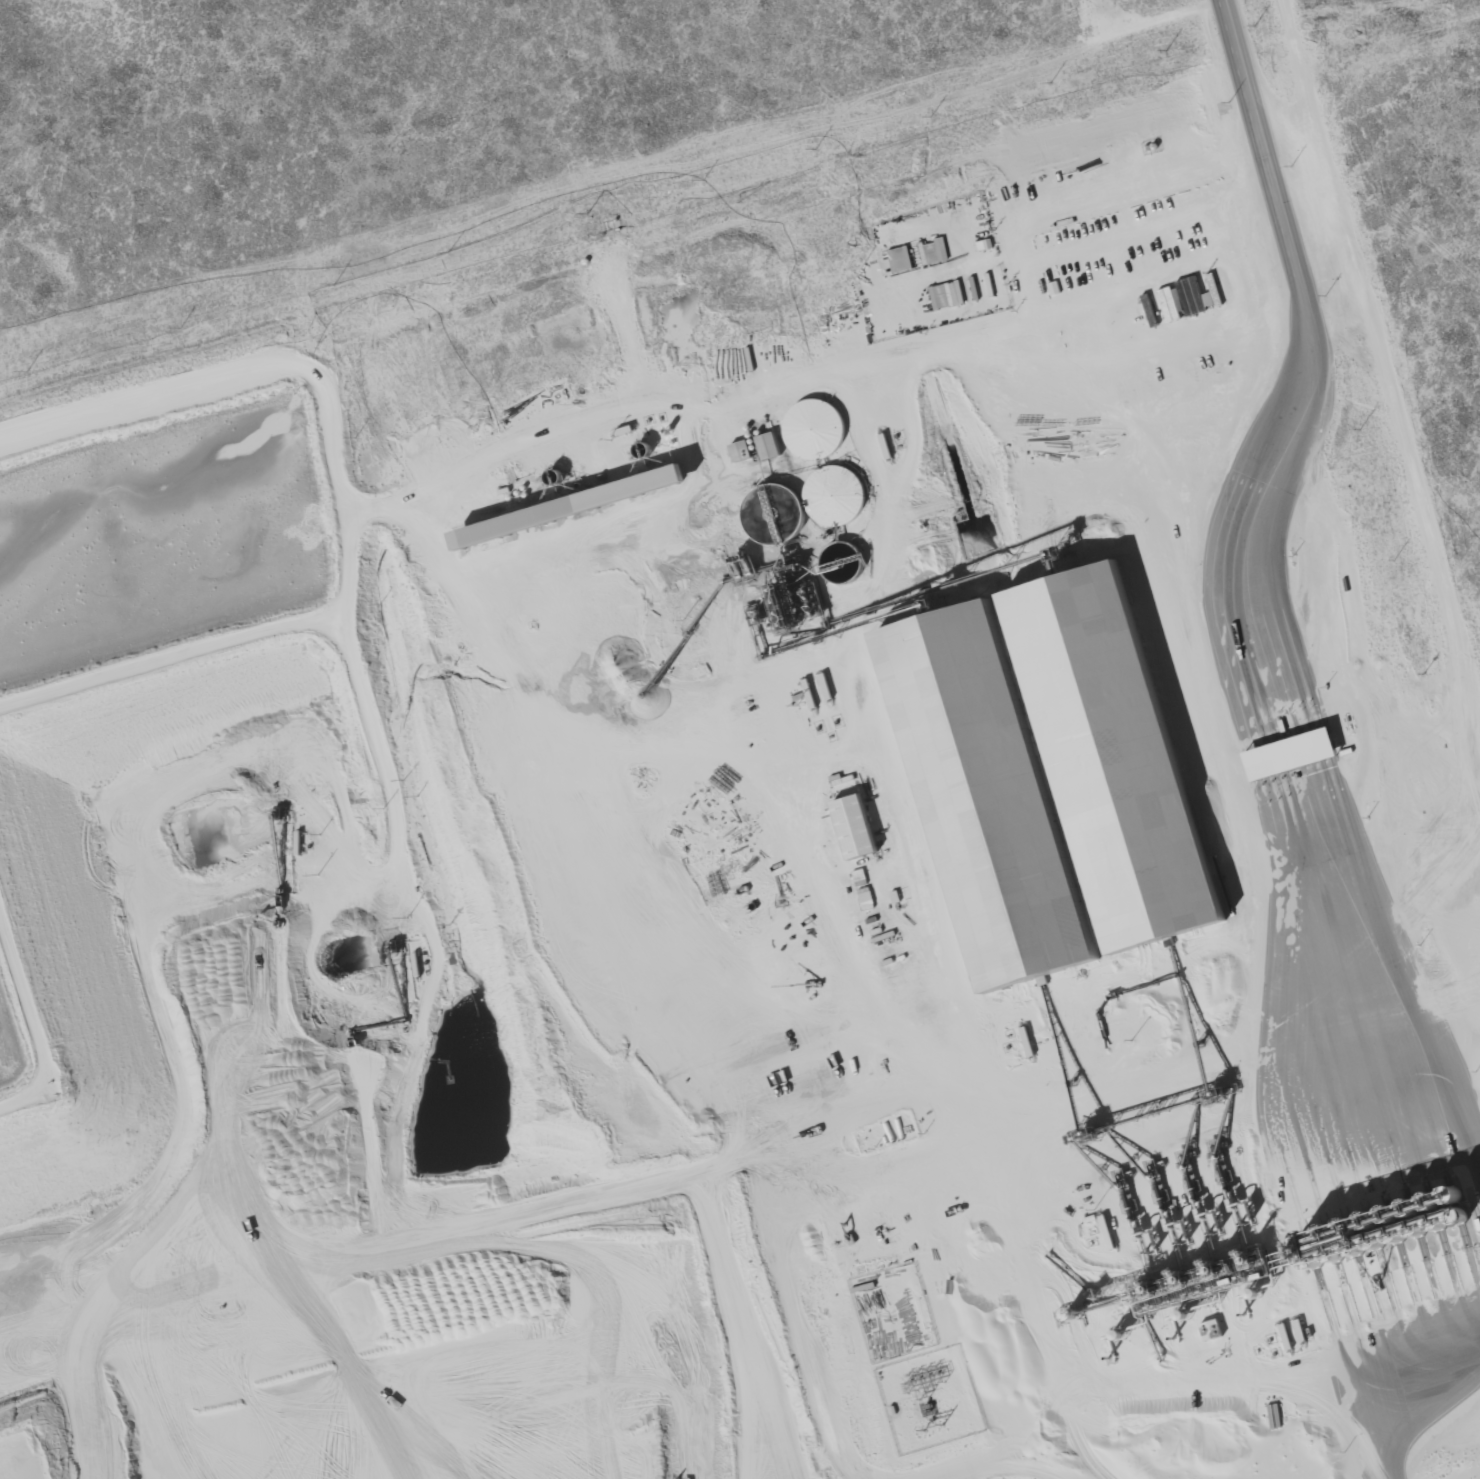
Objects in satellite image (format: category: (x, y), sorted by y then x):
building: (942, 295)
road: (1390, 329)
building: (812, 427)
building: (766, 444)
building: (738, 449)
building: (832, 493)
building: (565, 508)
building: (935, 662)
building: (1288, 753)
building: (851, 826)
road: (748, 1221)
building: (1209, 1329)
power substation: (930, 1398)

